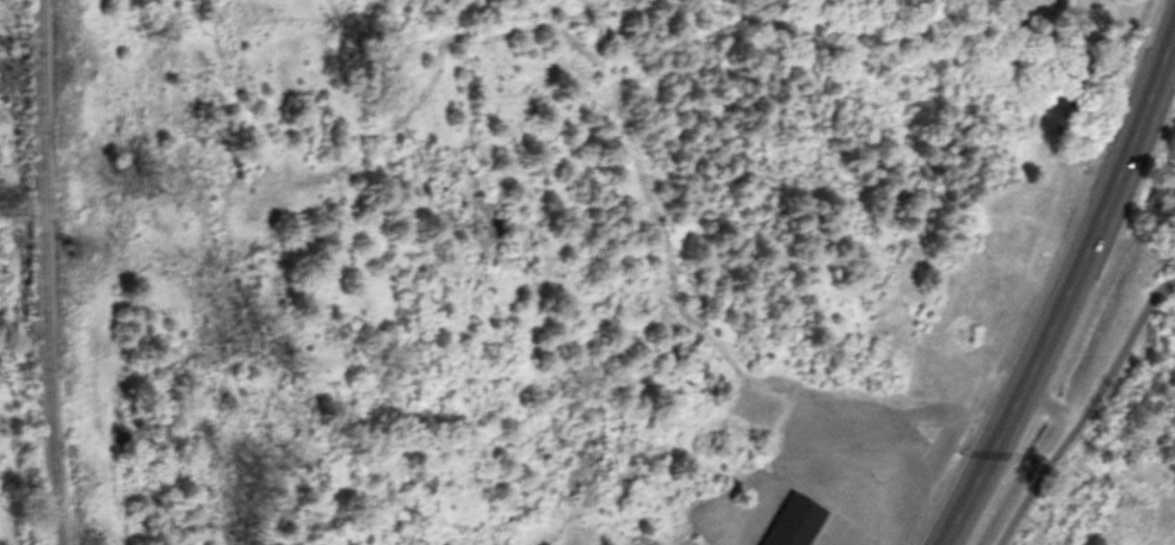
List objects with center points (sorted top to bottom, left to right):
railway: (41, 272)
road: (1068, 290)
road: (1086, 408)
building: (793, 520)

